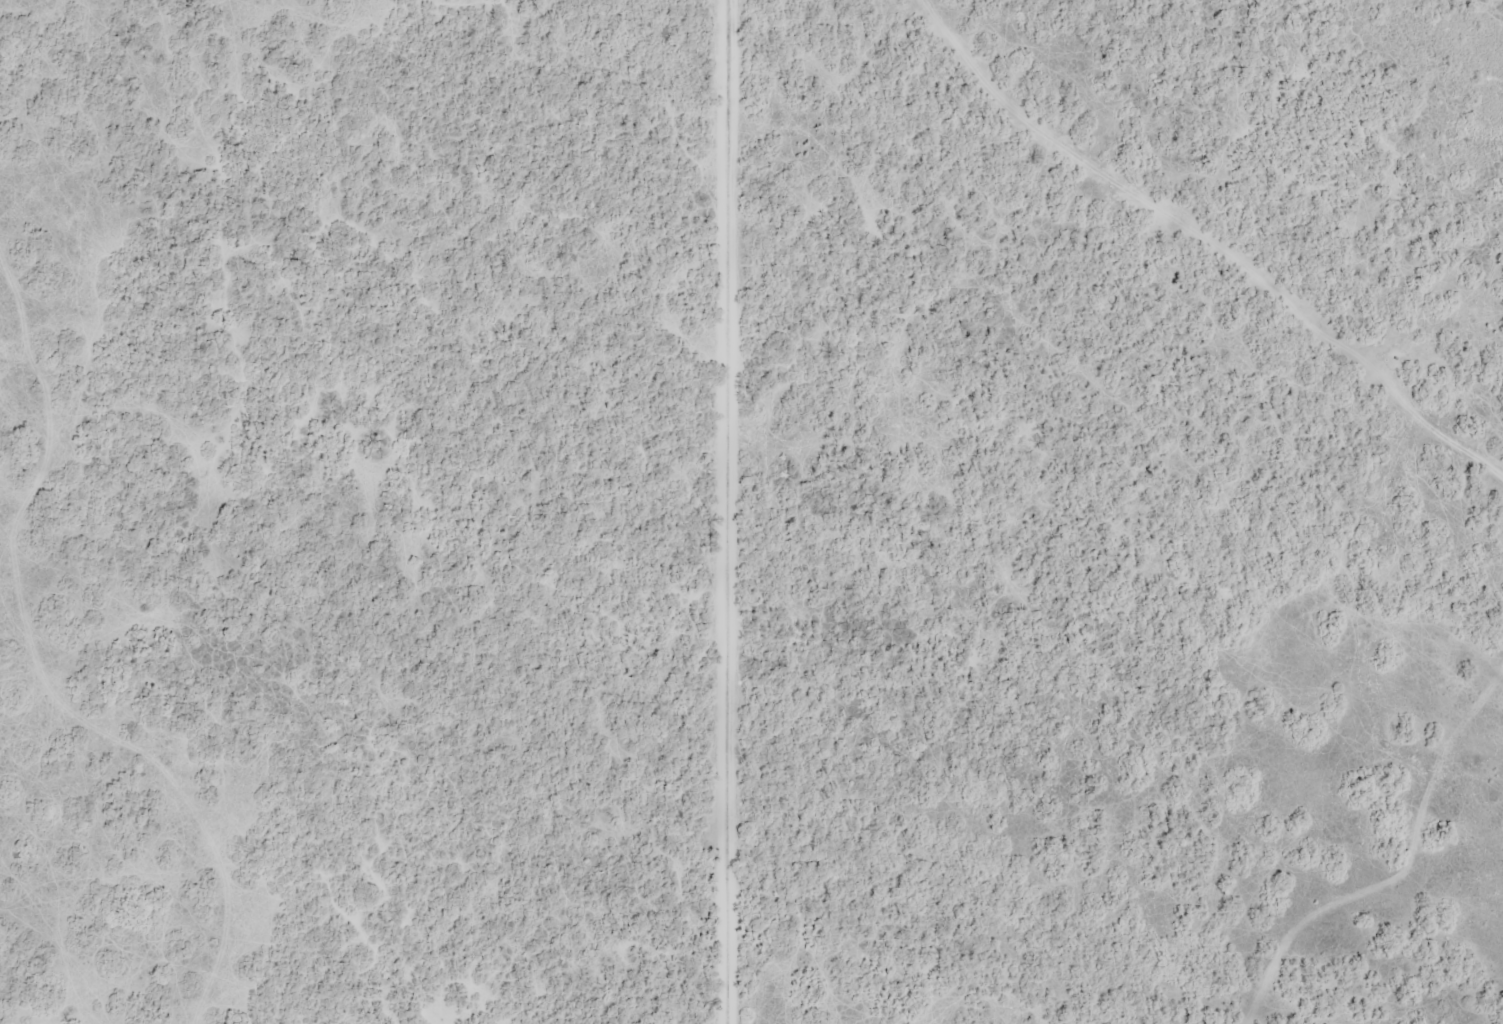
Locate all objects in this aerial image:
road: (20, 342)

